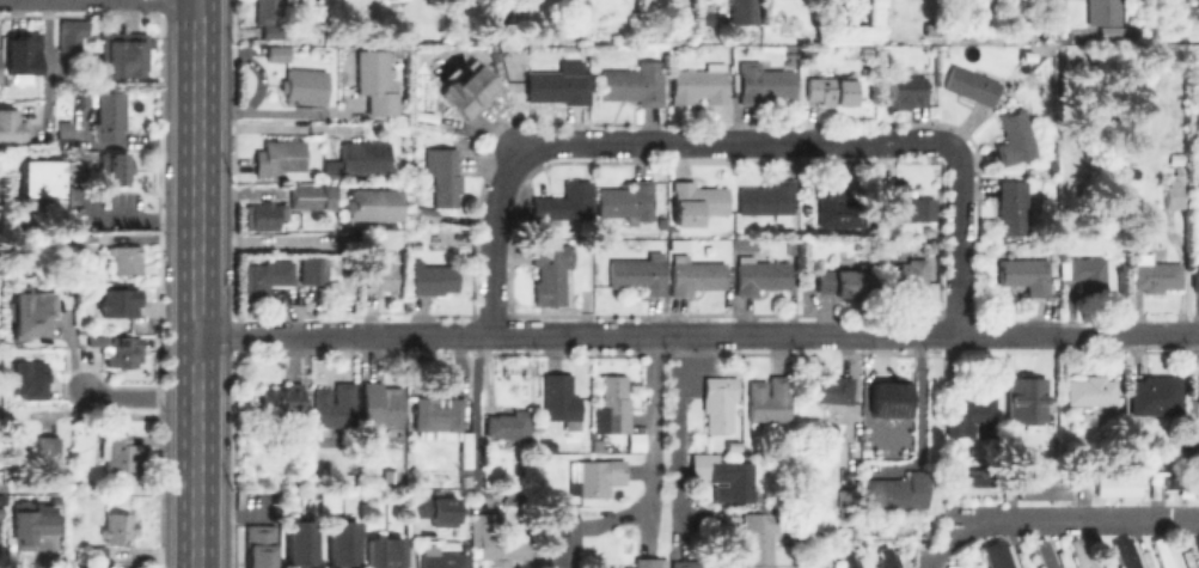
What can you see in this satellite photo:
building: (268, 10)
building: (742, 12)
building: (706, 17)
building: (1105, 17)
building: (685, 31)
building: (72, 33)
building: (271, 33)
building: (1017, 33)
building: (277, 53)
building: (123, 54)
building: (1027, 55)
building: (23, 56)
road: (44, 65)
building: (378, 83)
building: (634, 83)
building: (764, 83)
building: (973, 83)
building: (557, 85)
building: (305, 86)
building: (699, 86)
building: (832, 90)
building: (472, 91)
building: (909, 93)
building: (84, 100)
road: (271, 111)
building: (110, 115)
road: (269, 127)
building: (11, 128)
building: (1015, 136)
road: (734, 140)
building: (1176, 157)
building: (282, 158)
building: (366, 159)
building: (116, 167)
building: (442, 170)
building: (415, 172)
building: (328, 178)
building: (48, 179)
building: (1177, 188)
building: (415, 195)
building: (307, 196)
building: (889, 197)
building: (769, 200)
building: (626, 201)
building: (696, 201)
building: (565, 202)
building: (833, 204)
building: (1011, 204)
building: (371, 207)
building: (923, 210)
building: (422, 213)
road: (142, 215)
building: (264, 215)
road: (958, 236)
road: (490, 237)
building: (368, 238)
road: (270, 243)
building: (744, 243)
building: (81, 249)
building: (127, 258)
building: (552, 267)
building: (313, 268)
building: (383, 271)
building: (640, 273)
building: (1085, 273)
building: (760, 274)
building: (903, 274)
building: (1026, 274)
building: (696, 275)
building: (1154, 275)
building: (265, 276)
building: (1195, 276)
building: (434, 279)
building: (843, 282)
road: (196, 283)
building: (120, 304)
building: (35, 313)
road: (592, 331)
road: (871, 331)
road: (1078, 331)
road: (298, 334)
building: (97, 341)
building: (126, 354)
road: (478, 378)
building: (30, 380)
building: (830, 389)
building: (1197, 389)
building: (1091, 390)
building: (1035, 395)
building: (1156, 395)
building: (281, 396)
road: (137, 397)
building: (561, 397)
building: (770, 398)
building: (886, 398)
building: (616, 402)
building: (720, 403)
building: (381, 404)
building: (334, 405)
building: (439, 414)
building: (885, 419)
building: (974, 420)
building: (509, 425)
building: (602, 436)
road: (675, 439)
road: (648, 440)
building: (594, 444)
building: (636, 445)
building: (49, 447)
building: (120, 456)
building: (1176, 465)
building: (726, 476)
building: (349, 477)
building: (598, 477)
building: (969, 481)
building: (464, 482)
building: (1039, 487)
building: (1115, 487)
building: (899, 491)
building: (846, 499)
building: (806, 501)
building: (436, 512)
road: (1103, 518)
building: (29, 525)
building: (869, 526)
road: (958, 527)
building: (118, 529)
building: (759, 539)
building: (497, 540)
building: (564, 542)
building: (344, 544)
building: (302, 546)
building: (262, 548)
building: (1195, 549)
building: (1162, 551)
building: (1077, 552)
building: (96, 554)
building: (1042, 554)
building: (1130, 554)
building: (385, 555)
building: (997, 555)
building: (883, 557)
building: (443, 560)
building: (644, 562)
building: (693, 563)

